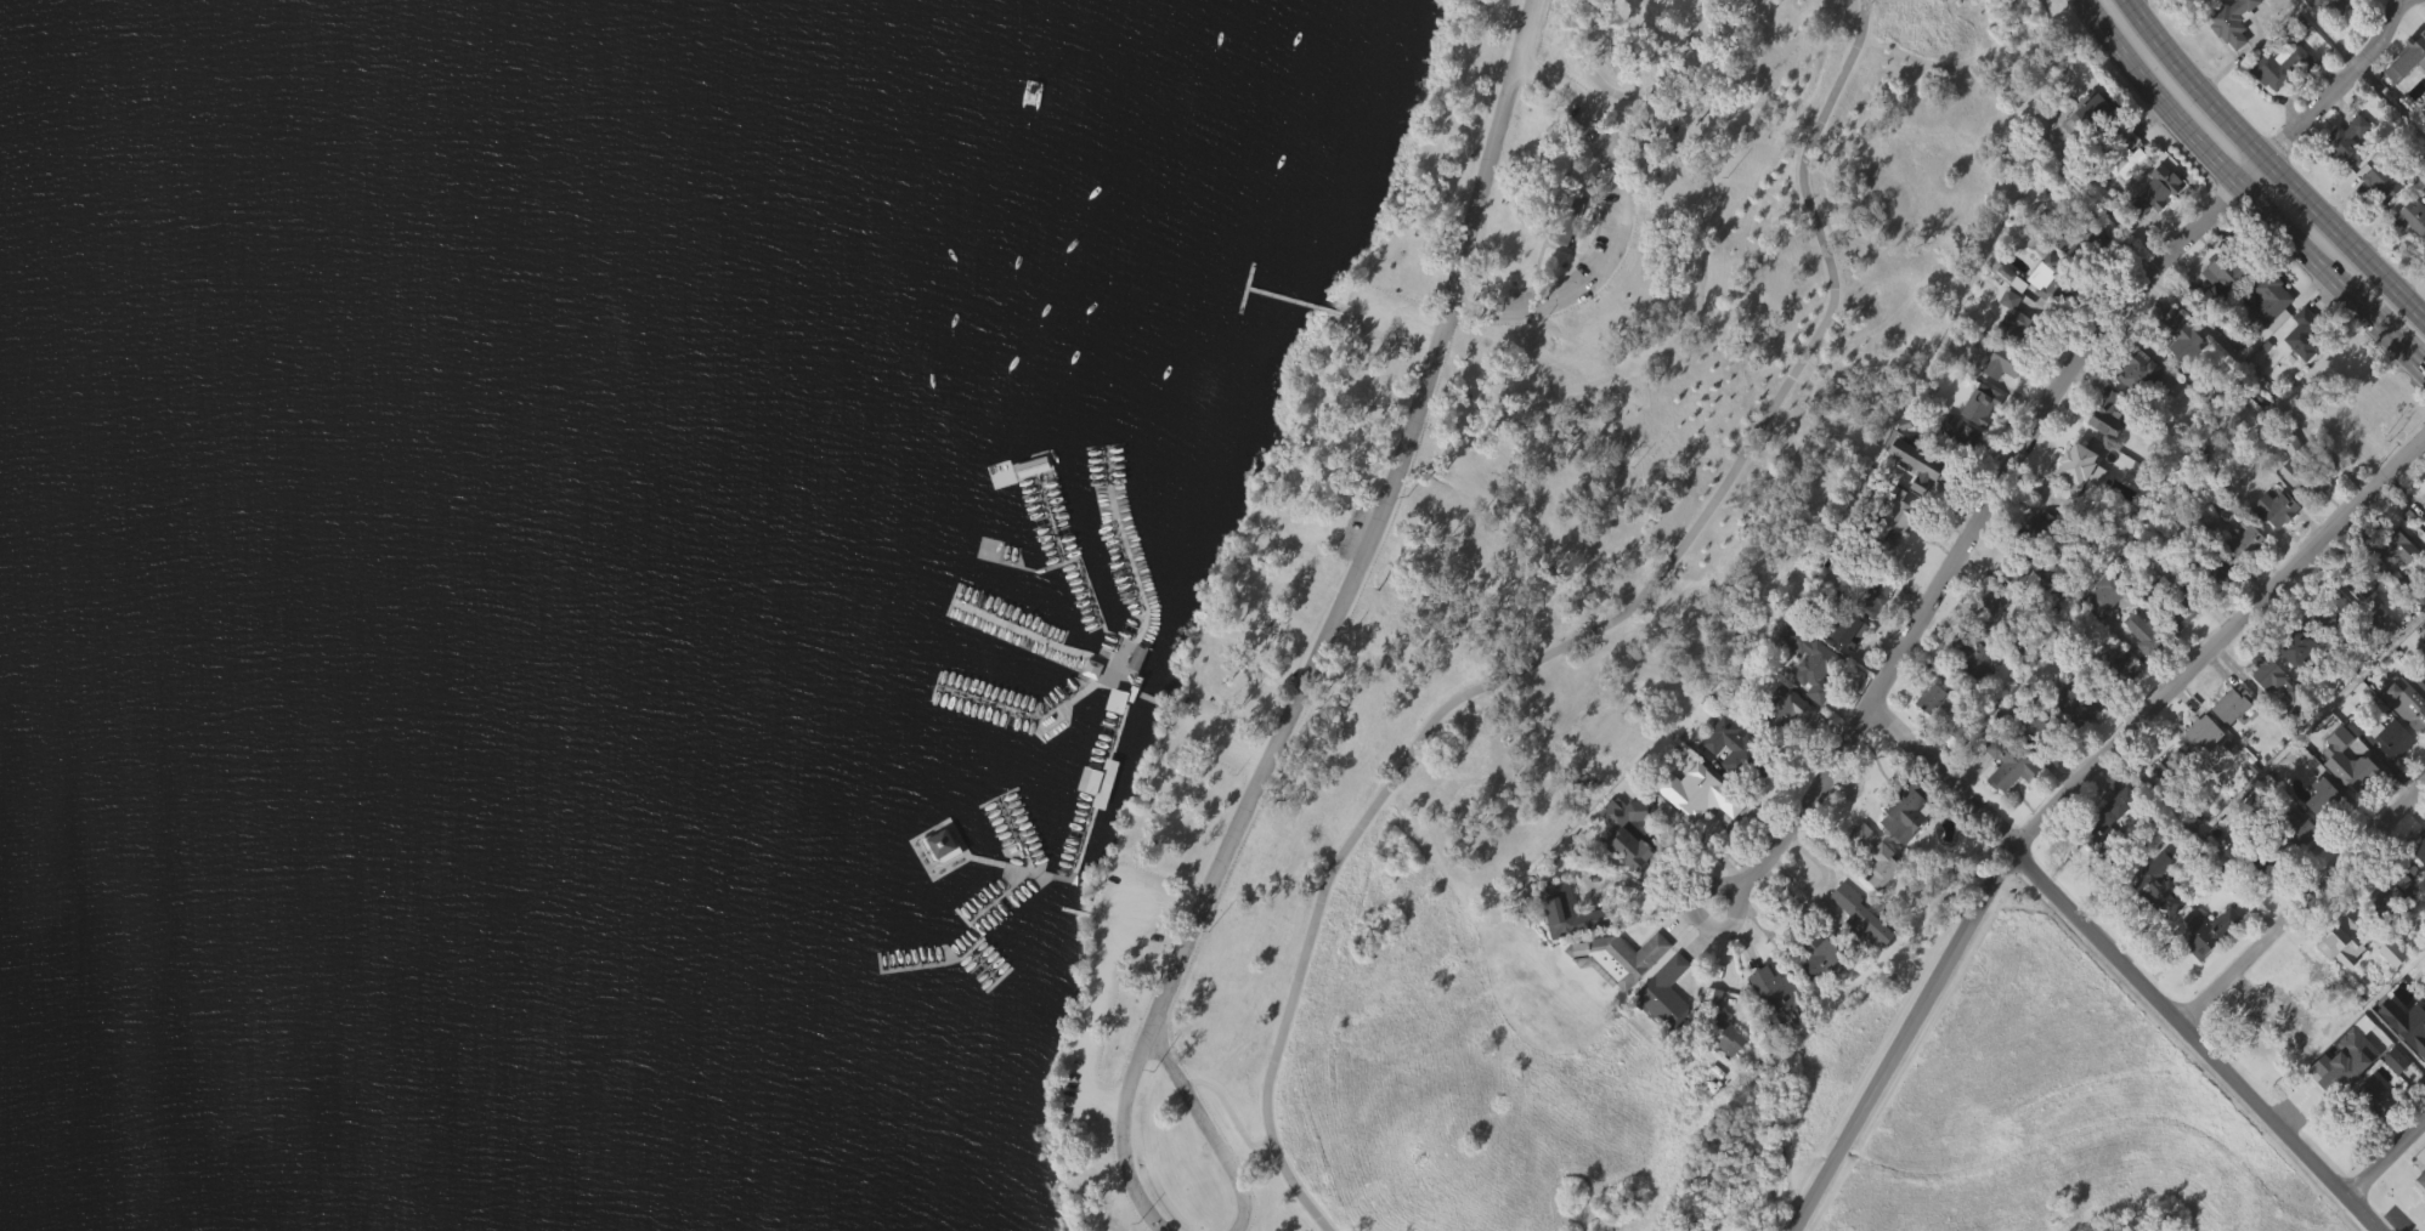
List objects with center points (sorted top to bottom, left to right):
building: (2198, 2)
building: (2335, 4)
building: (2231, 22)
building: (2333, 39)
building: (2413, 53)
building: (2232, 63)
building: (2283, 66)
road: (2353, 72)
building: (2424, 73)
road: (2195, 81)
road: (1633, 95)
road: (2155, 95)
road: (2392, 100)
building: (2277, 109)
building: (2090, 115)
road: (2284, 138)
building: (2345, 141)
road: (2271, 151)
building: (2125, 155)
building: (2085, 161)
road: (2252, 169)
building: (2378, 185)
building: (2345, 186)
building: (2157, 189)
building: (2130, 192)
building: (2410, 219)
building: (1562, 220)
building: (2379, 226)
road: (1621, 227)
building: (2160, 232)
road: (2345, 236)
road: (2300, 242)
building: (2091, 248)
building: (2413, 262)
building: (2009, 277)
building: (2225, 278)
building: (2062, 279)
pier: (1245, 288)
pier: (1295, 300)
building: (2272, 302)
building: (2006, 319)
building: (2020, 319)
building: (2045, 319)
building: (2218, 324)
building: (2306, 333)
road: (2392, 334)
building: (2183, 335)
building: (2268, 342)
building: (2001, 354)
building: (2137, 370)
building: (2304, 376)
building: (2180, 380)
road: (2261, 380)
building: (1983, 404)
building: (1999, 409)
building: (2107, 410)
building: (2135, 415)
building: (1957, 438)
building: (1979, 448)
building: (2103, 456)
building: (2074, 469)
building: (1957, 475)
building: (2304, 477)
building: (1938, 481)
building: (2424, 486)
building: (2277, 507)
building: (1900, 509)
building: (1921, 510)
pier: (1047, 512)
building: (2161, 512)
building: (2073, 514)
building: (2301, 522)
building: (2045, 526)
road: (1968, 534)
building: (2246, 541)
building: (2390, 549)
building: (2273, 552)
building: (1890, 560)
pier: (1134, 568)
pier: (1085, 572)
building: (2211, 572)
building: (2363, 580)
building: (1869, 590)
building: (2009, 592)
building: (2392, 594)
building: (2177, 600)
building: (2325, 609)
park: (966, 613)
building: (2030, 613)
building: (2217, 614)
building: (2382, 623)
road: (1330, 625)
building: (1848, 625)
building: (2358, 630)
building: (2149, 632)
road: (1578, 635)
pier: (1030, 637)
building: (2103, 637)
building: (1870, 641)
building: (2174, 641)
road: (2220, 642)
building: (2299, 645)
building: (1974, 656)
building: (2316, 658)
building: (1818, 659)
building: (2376, 663)
building: (2125, 671)
building: (1848, 675)
building: (2274, 680)
building: (2146, 682)
building: (2295, 691)
building: (1966, 694)
pier: (1154, 699)
building: (1933, 699)
building: (2406, 699)
building: (1810, 703)
building: (2082, 703)
building: (2231, 704)
building: (2120, 713)
building: (1785, 715)
pier: (1042, 716)
building: (2271, 720)
building: (2046, 727)
building: (2204, 733)
building: (2391, 738)
building: (1931, 742)
building: (2231, 745)
building: (2074, 748)
building: (1739, 751)
building: (1785, 756)
building: (2009, 764)
building: (2171, 767)
road: (1941, 776)
building: (2359, 776)
building: (2198, 779)
building: (2389, 782)
building: (1092, 784)
building: (1698, 792)
building: (2325, 802)
building: (2346, 805)
building: (2006, 807)
building: (1910, 811)
building: (2160, 813)
building: (2108, 826)
building: (1630, 830)
building: (2297, 832)
building: (1697, 836)
pier: (1085, 838)
building: (2321, 840)
building: (937, 843)
building: (2420, 850)
building: (1904, 856)
building: (1872, 857)
building: (2250, 857)
building: (2108, 861)
building: (2294, 870)
building: (1626, 874)
road: (1646, 885)
building: (939, 889)
building: (2391, 890)
building: (2158, 892)
building: (1873, 898)
building: (2420, 898)
road: (2305, 904)
building: (1567, 911)
building: (1862, 917)
building: (2157, 930)
building: (2212, 930)
building: (2392, 930)
building: (2341, 934)
pier: (978, 940)
building: (1567, 955)
building: (1822, 955)
building: (1622, 957)
pier: (984, 963)
building: (1860, 963)
building: (2204, 974)
pier: (999, 977)
building: (2340, 986)
building: (1767, 991)
building: (1669, 995)
building: (1623, 997)
building: (2390, 997)
building: (1819, 998)
building: (2279, 1016)
building: (1723, 1019)
building: (1773, 1031)
building: (1663, 1034)
road: (1903, 1038)
building: (1711, 1039)
road: (2195, 1039)
building: (2278, 1059)
building: (2331, 1068)
building: (1723, 1078)
building: (2372, 1097)
building: (2392, 1104)
building: (2340, 1105)
road: (1206, 1127)
building: (2373, 1139)
road: (2386, 1159)
building: (2420, 1223)
building: (2420, 1230)

